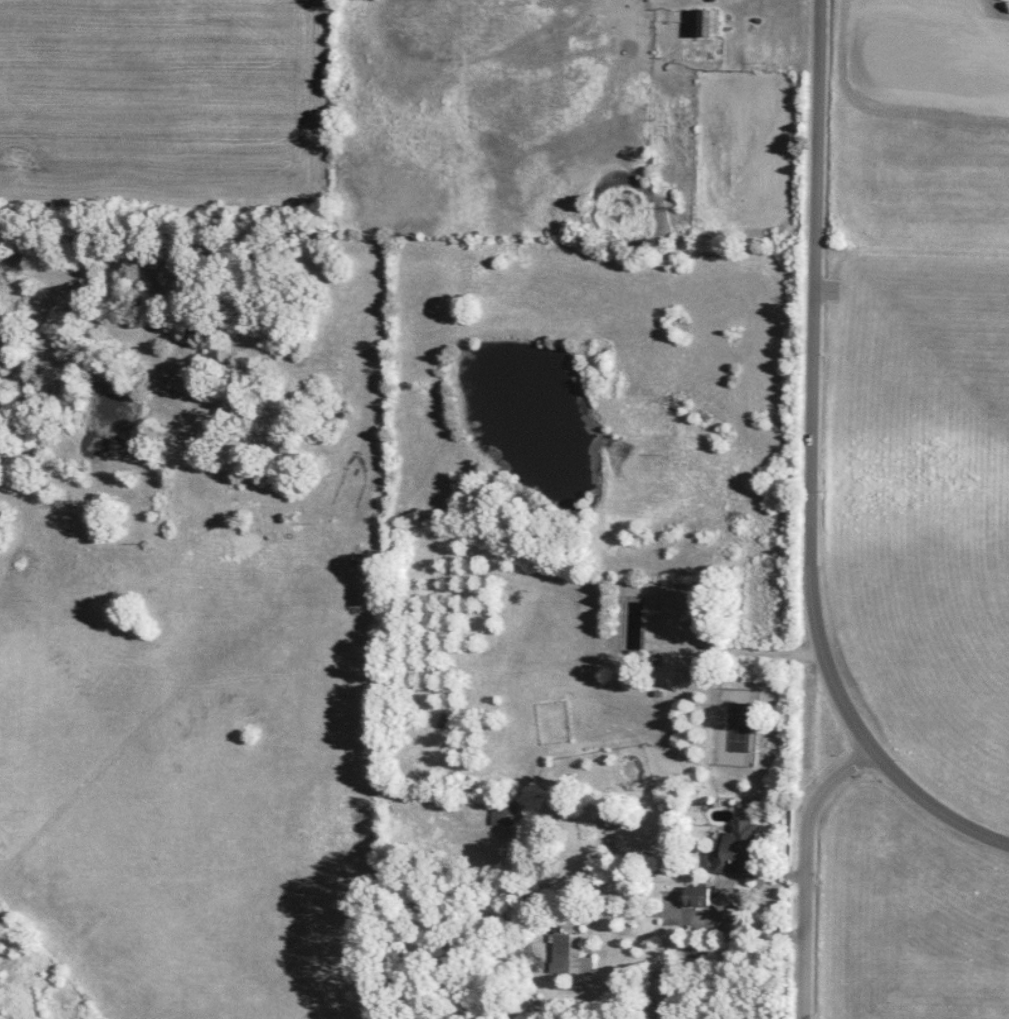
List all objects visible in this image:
road: (821, 280)
road: (871, 731)
building: (500, 812)
road: (815, 825)
building: (742, 846)
building: (700, 895)
building: (570, 952)

